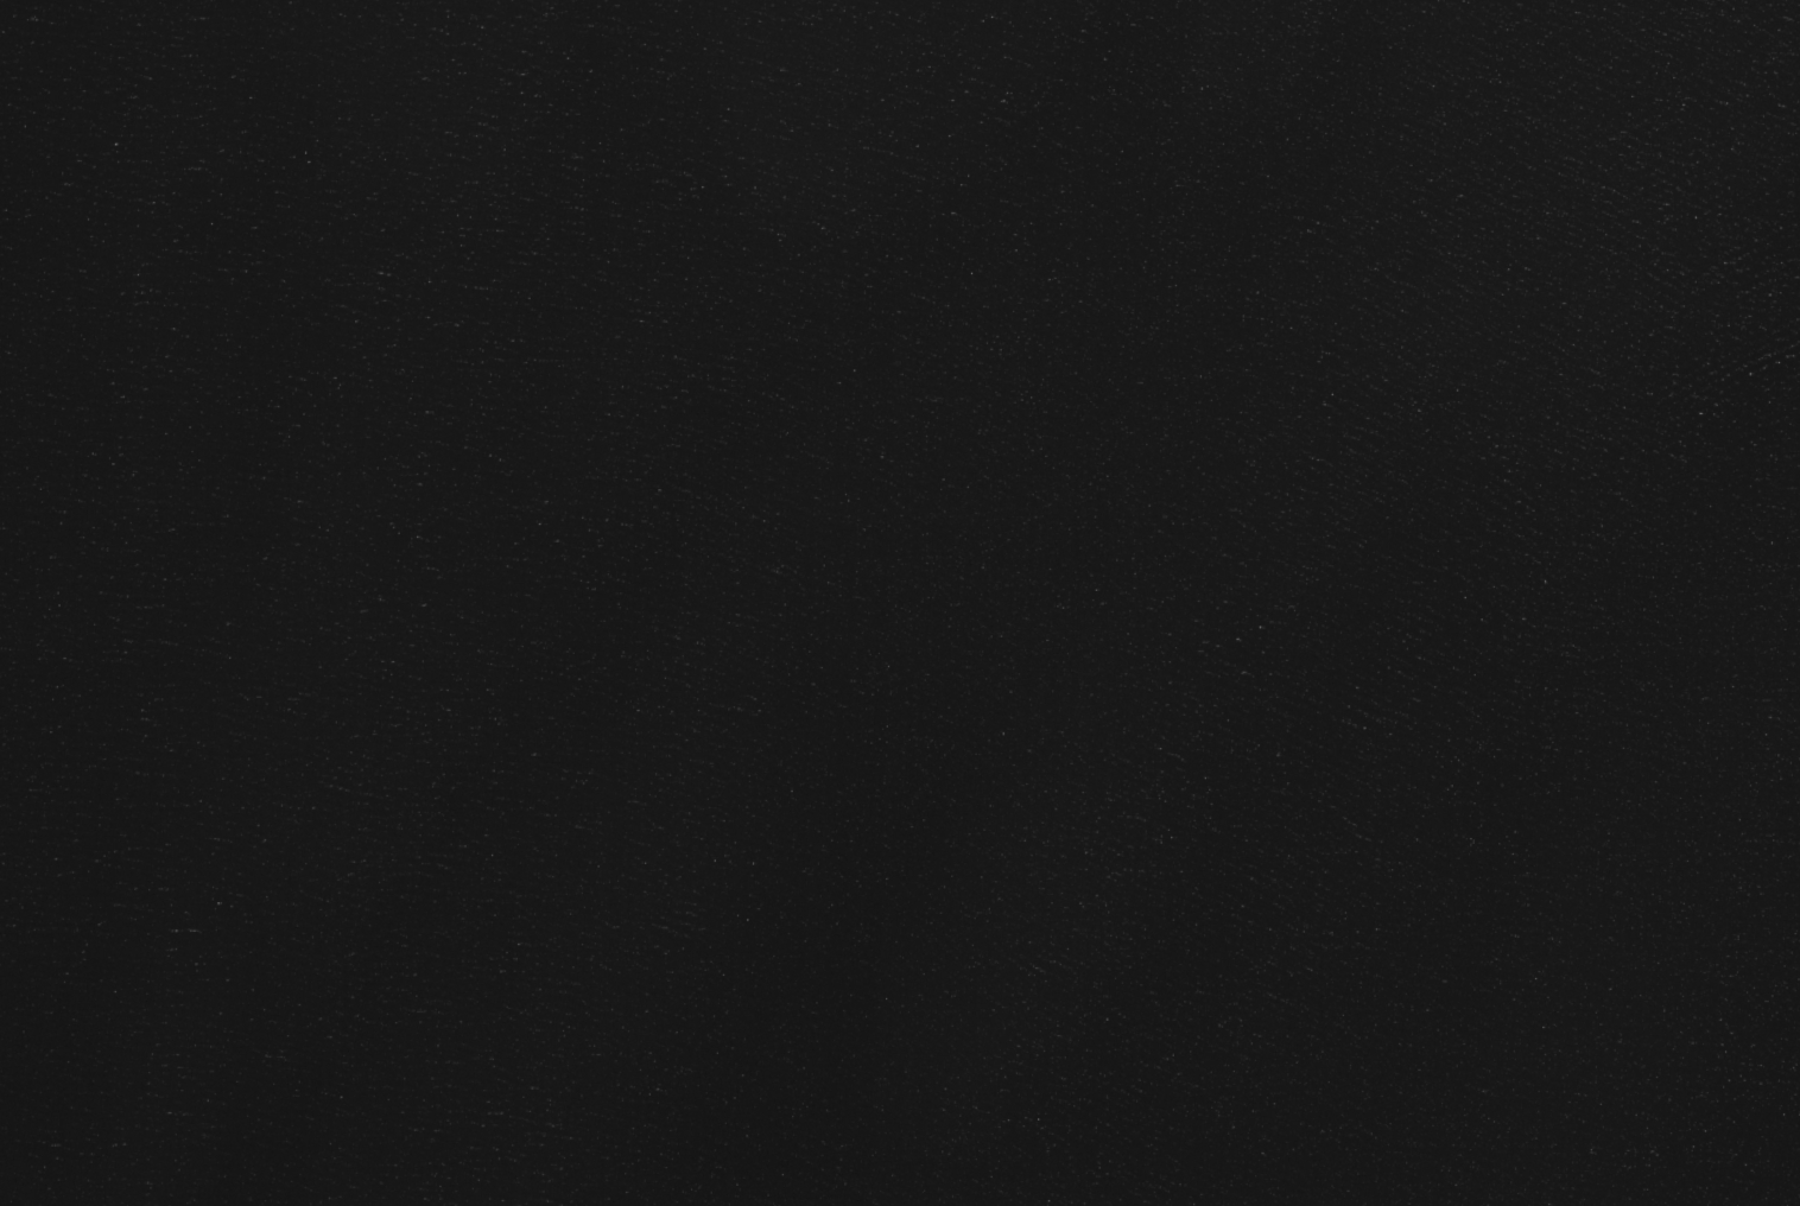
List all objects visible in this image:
building: (1643, 112)

